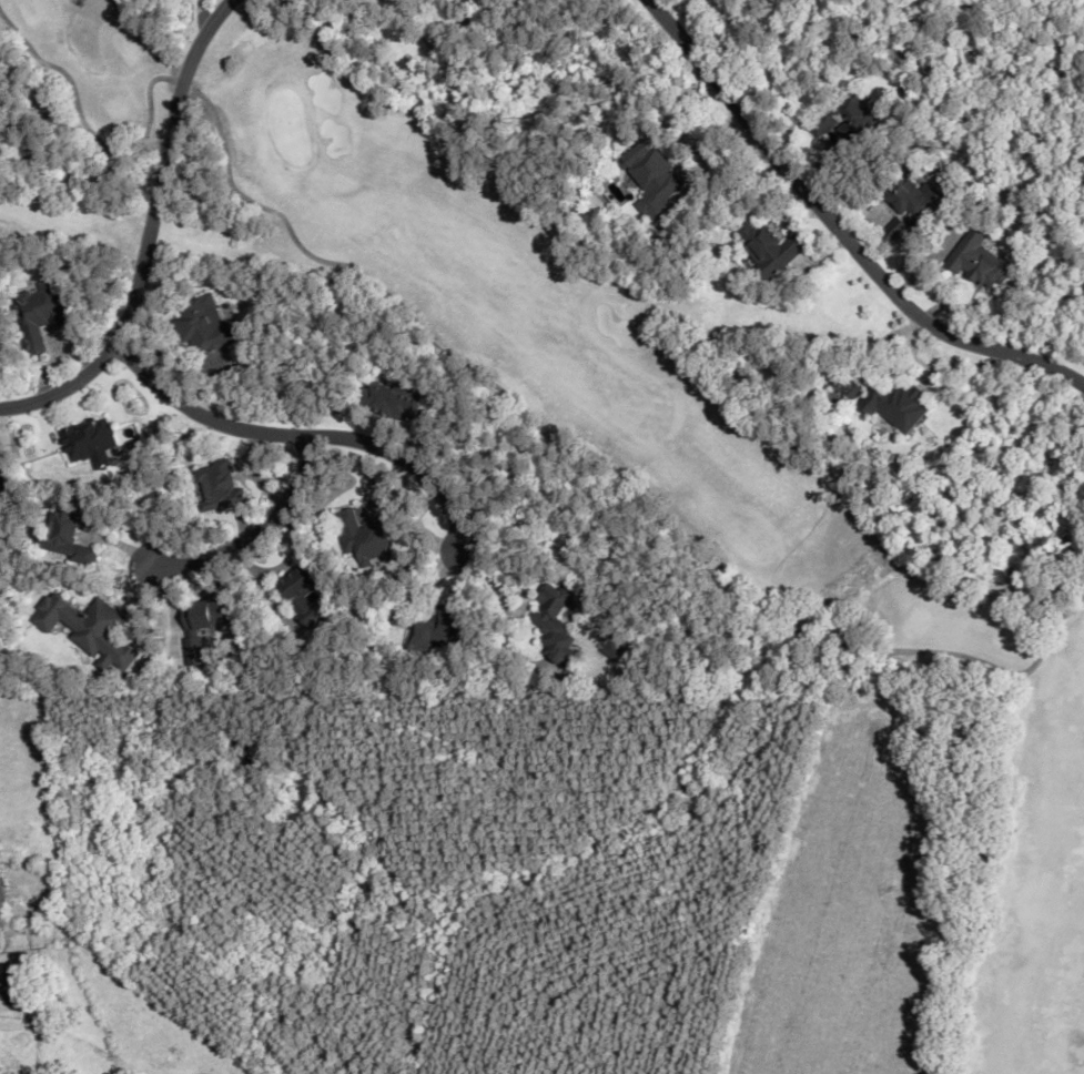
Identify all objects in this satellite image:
building: (754, 0)
building: (842, 116)
building: (649, 178)
building: (913, 206)
road: (838, 229)
road: (148, 233)
building: (766, 247)
building: (977, 259)
building: (38, 313)
building: (203, 324)
building: (852, 389)
building: (391, 399)
building: (895, 403)
road: (297, 434)
building: (88, 438)
building: (3, 476)
building: (216, 486)
road: (261, 527)
building: (64, 535)
building: (365, 537)
building: (300, 592)
building: (555, 621)
building: (200, 624)
building: (88, 628)
building: (439, 629)
building: (1, 904)
building: (12, 986)

